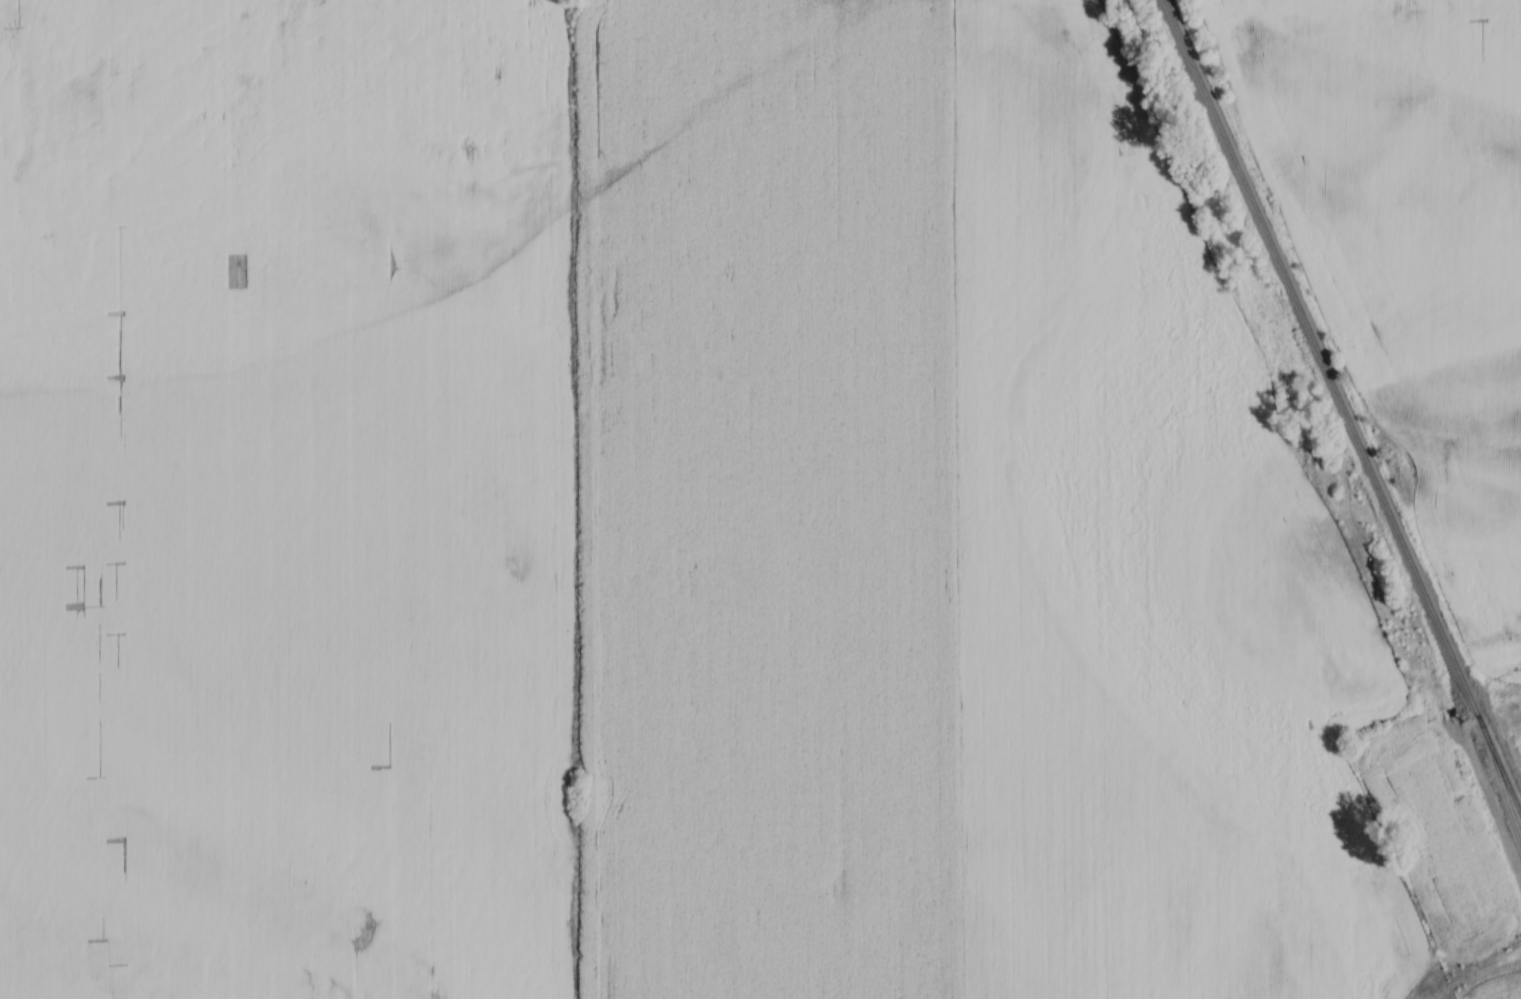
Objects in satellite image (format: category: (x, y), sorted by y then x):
railway: (1343, 405)
railway: (1502, 784)

